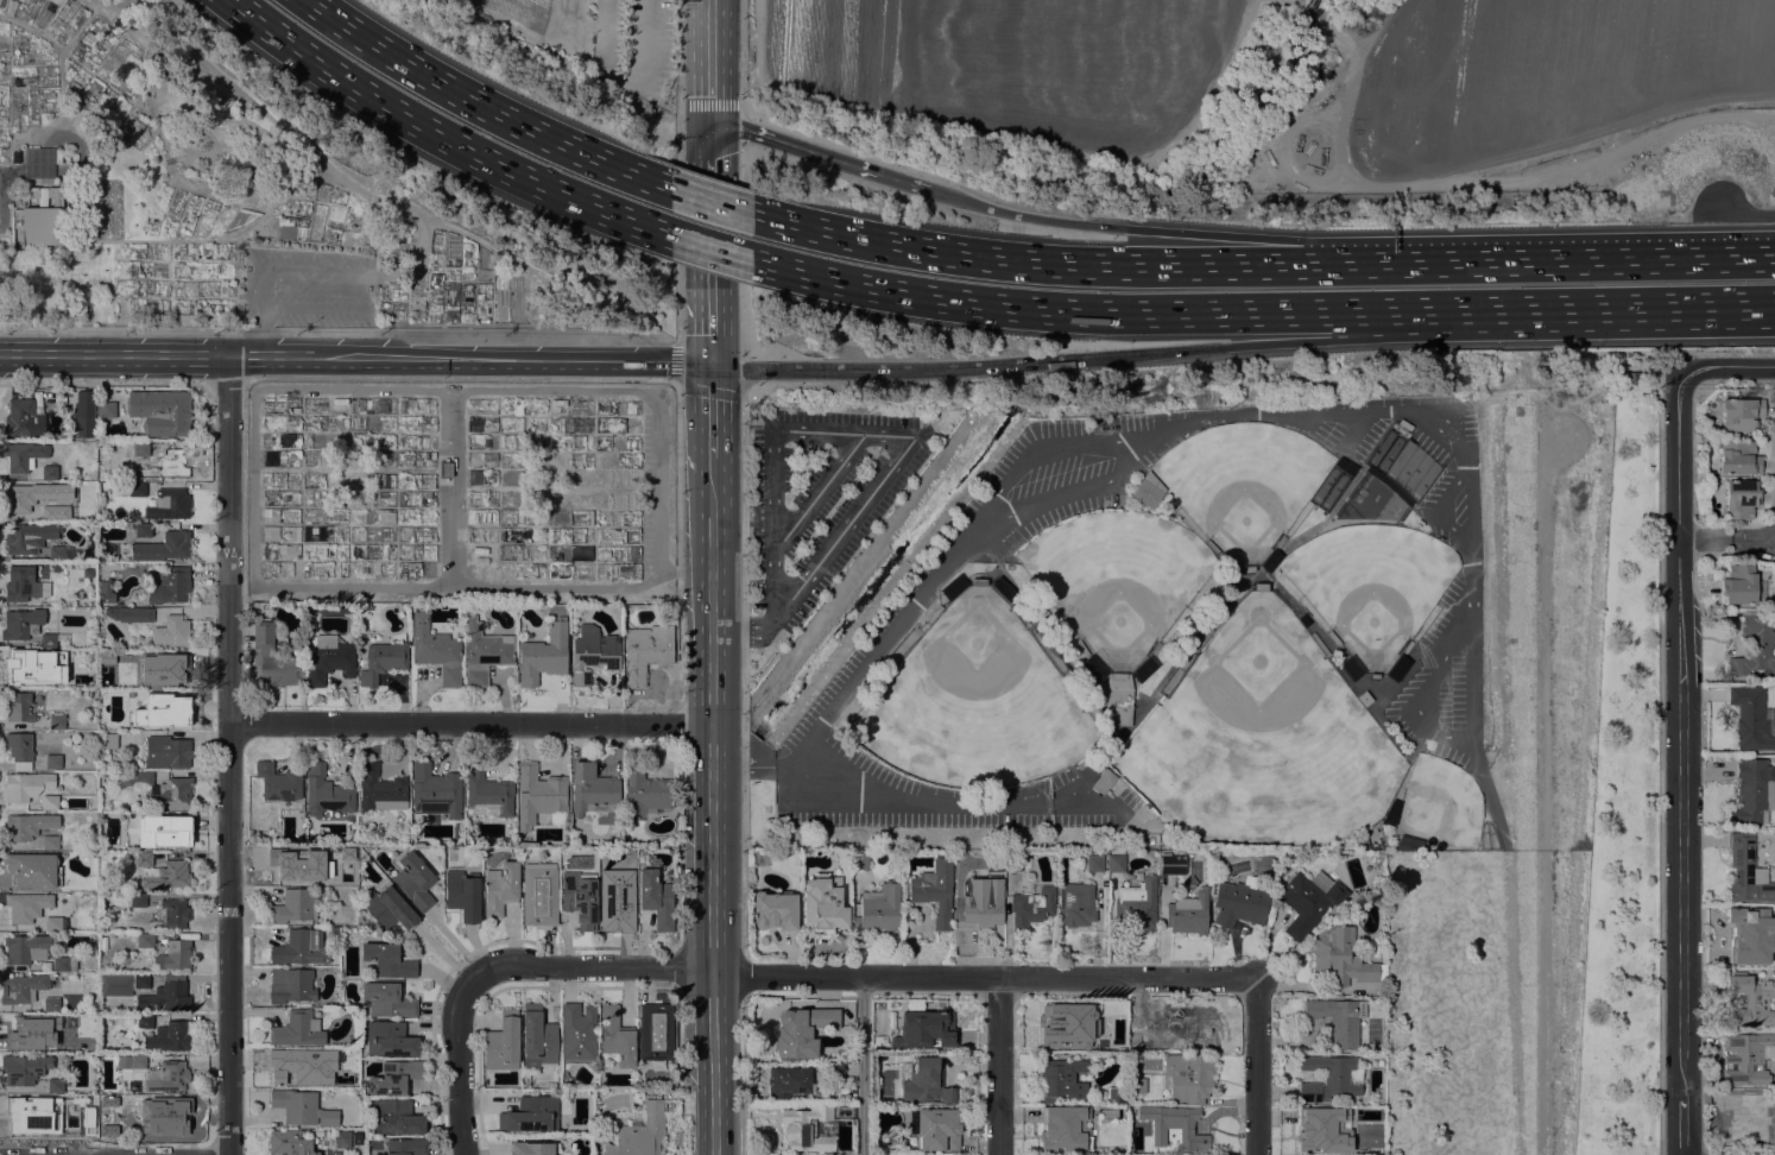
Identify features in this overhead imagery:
road: (741, 56)
crop: (1016, 59)
park: (1070, 62)
road: (712, 63)
crop: (1518, 81)
road: (709, 103)
road: (480, 107)
road: (741, 126)
traffic signals: (713, 127)
road: (441, 134)
road: (299, 143)
road: (804, 149)
building: (15, 157)
building: (37, 163)
road: (677, 169)
dam: (1705, 177)
road: (911, 184)
road: (961, 200)
road: (709, 201)
dam: (1742, 213)
road: (1742, 213)
building: (39, 219)
building: (282, 220)
road: (1227, 234)
road: (713, 246)
road: (710, 247)
road: (741, 248)
road: (1616, 260)
road: (1100, 266)
parking lot: (309, 288)
road: (1660, 305)
road: (1145, 309)
road: (337, 333)
road: (1313, 341)
road: (356, 358)
road: (676, 360)
traffic signals: (713, 365)
road: (1727, 365)
road: (896, 370)
road: (743, 375)
building: (1625, 375)
road: (451, 377)
road: (260, 387)
road: (709, 389)
building: (25, 392)
road: (712, 395)
building: (106, 409)
building: (160, 411)
building: (83, 414)
building: (1741, 414)
building: (23, 418)
road: (1179, 431)
road: (864, 435)
road: (712, 440)
building: (140, 449)
park: (1219, 454)
building: (23, 455)
building: (1738, 457)
road: (712, 463)
building: (165, 466)
building: (49, 472)
building: (542, 476)
park: (1244, 481)
road: (451, 486)
building: (355, 488)
building: (137, 490)
building: (1148, 490)
parking lot: (650, 491)
road: (817, 493)
building: (21, 497)
parking lot: (821, 498)
building: (1741, 498)
building: (169, 504)
building: (56, 513)
building: (140, 529)
building: (27, 537)
road: (1725, 538)
building: (1280, 542)
building: (163, 547)
building: (1212, 547)
road: (865, 553)
building: (56, 554)
building: (1270, 560)
building: (1224, 563)
building: (1247, 569)
park: (1123, 576)
building: (21, 582)
building: (978, 582)
park: (1371, 585)
building: (1738, 585)
building: (170, 586)
road: (239, 587)
building: (1259, 587)
building: (952, 588)
building: (1002, 589)
building: (77, 591)
building: (105, 591)
road: (710, 599)
building: (1018, 613)
building: (130, 614)
building: (934, 614)
building: (1217, 619)
building: (1303, 620)
building: (21, 624)
road: (748, 629)
building: (171, 631)
building: (1332, 637)
building: (53, 639)
building: (1202, 639)
building: (1319, 644)
building: (1755, 645)
building: (1082, 648)
building: (1407, 648)
building: (1155, 649)
building: (436, 650)
building: (484, 651)
building: (645, 651)
building: (544, 654)
building: (593, 654)
building: (328, 658)
building: (272, 659)
building: (383, 661)
building: (25, 664)
building: (1093, 668)
building: (1351, 668)
building: (1397, 668)
building: (1144, 669)
building: (160, 670)
building: (1373, 675)
building: (51, 681)
road: (743, 684)
road: (1460, 698)
building: (1364, 699)
building: (1118, 700)
road: (1416, 702)
park: (975, 703)
building: (19, 707)
building: (160, 712)
building: (1750, 718)
dam: (1553, 720)
building: (56, 721)
road: (468, 724)
road: (1678, 734)
building: (108, 740)
park: (1259, 741)
building: (19, 750)
building: (166, 752)
road: (227, 756)
building: (52, 762)
road: (710, 764)
building: (1103, 781)
building: (279, 784)
building: (25, 785)
building: (160, 789)
building: (380, 789)
building: (592, 790)
building: (643, 790)
building: (1754, 790)
building: (326, 793)
building: (435, 793)
road: (1490, 793)
road: (1543, 793)
building: (487, 794)
building: (538, 794)
road: (891, 796)
building: (49, 801)
park: (1441, 803)
park: (1623, 810)
building: (1390, 813)
park: (1545, 813)
building: (139, 819)
building: (33, 828)
building: (170, 833)
building: (1408, 844)
building: (144, 859)
building: (860, 859)
building: (1012, 863)
building: (1116, 863)
building: (993, 864)
building: (1093, 864)
building: (1173, 865)
building: (292, 867)
building: (32, 871)
building: (1745, 871)
building: (166, 875)
building: (413, 881)
building: (500, 888)
building: (904, 889)
building: (935, 889)
building: (462, 894)
building: (539, 895)
building: (579, 898)
building: (656, 898)
building: (138, 900)
building: (617, 901)
building: (1308, 901)
building: (823, 903)
building: (1075, 904)
building: (1239, 904)
building: (1137, 905)
building: (26, 907)
building: (293, 907)
building: (879, 908)
building: (1031, 908)
building: (387, 909)
building: (983, 909)
building: (775, 910)
building: (175, 914)
building: (1188, 914)
building: (52, 923)
building: (335, 932)
building: (144, 940)
building: (1752, 941)
building: (299, 948)
building: (36, 952)
building: (176, 954)
building: (1343, 958)
building: (387, 960)
road: (587, 966)
road: (983, 977)
road: (710, 979)
building: (141, 980)
building: (114, 984)
building: (291, 985)
building: (21, 987)
building: (165, 997)
building: (387, 999)
road: (1512, 1002)
building: (1749, 1002)
building: (51, 1004)
building: (901, 1016)
building: (1338, 1020)
building: (144, 1021)
building: (1188, 1025)
building: (1067, 1027)
building: (26, 1028)
building: (297, 1029)
building: (935, 1029)
building: (656, 1031)
building: (802, 1033)
building: (577, 1034)
building: (170, 1036)
building: (615, 1037)
building: (389, 1039)
building: (537, 1040)
building: (503, 1042)
building: (1116, 1043)
building: (59, 1046)
building: (121, 1058)
building: (1749, 1058)
building: (137, 1061)
road: (459, 1066)
road: (861, 1066)
road: (998, 1066)
road: (1257, 1066)
building: (298, 1067)
building: (23, 1069)
building: (834, 1069)
building: (168, 1077)
building: (1189, 1077)
building: (394, 1078)
building: (1329, 1078)
building: (1063, 1079)
building: (788, 1083)
building: (926, 1083)
building: (55, 1085)
building: (1137, 1086)
building: (1116, 1094)
building: (302, 1107)
building: (1364, 1112)
building: (30, 1115)
building: (530, 1115)
building: (162, 1116)
building: (396, 1117)
building: (1748, 1118)
building: (1063, 1125)
road: (1680, 1125)
building: (1175, 1126)
building: (807, 1128)
building: (934, 1128)
building: (1320, 1132)
building: (640, 1134)
building: (342, 1140)
building: (289, 1143)
building: (406, 1147)
building: (1116, 1147)
building: (530, 1148)
building: (375, 1154)

